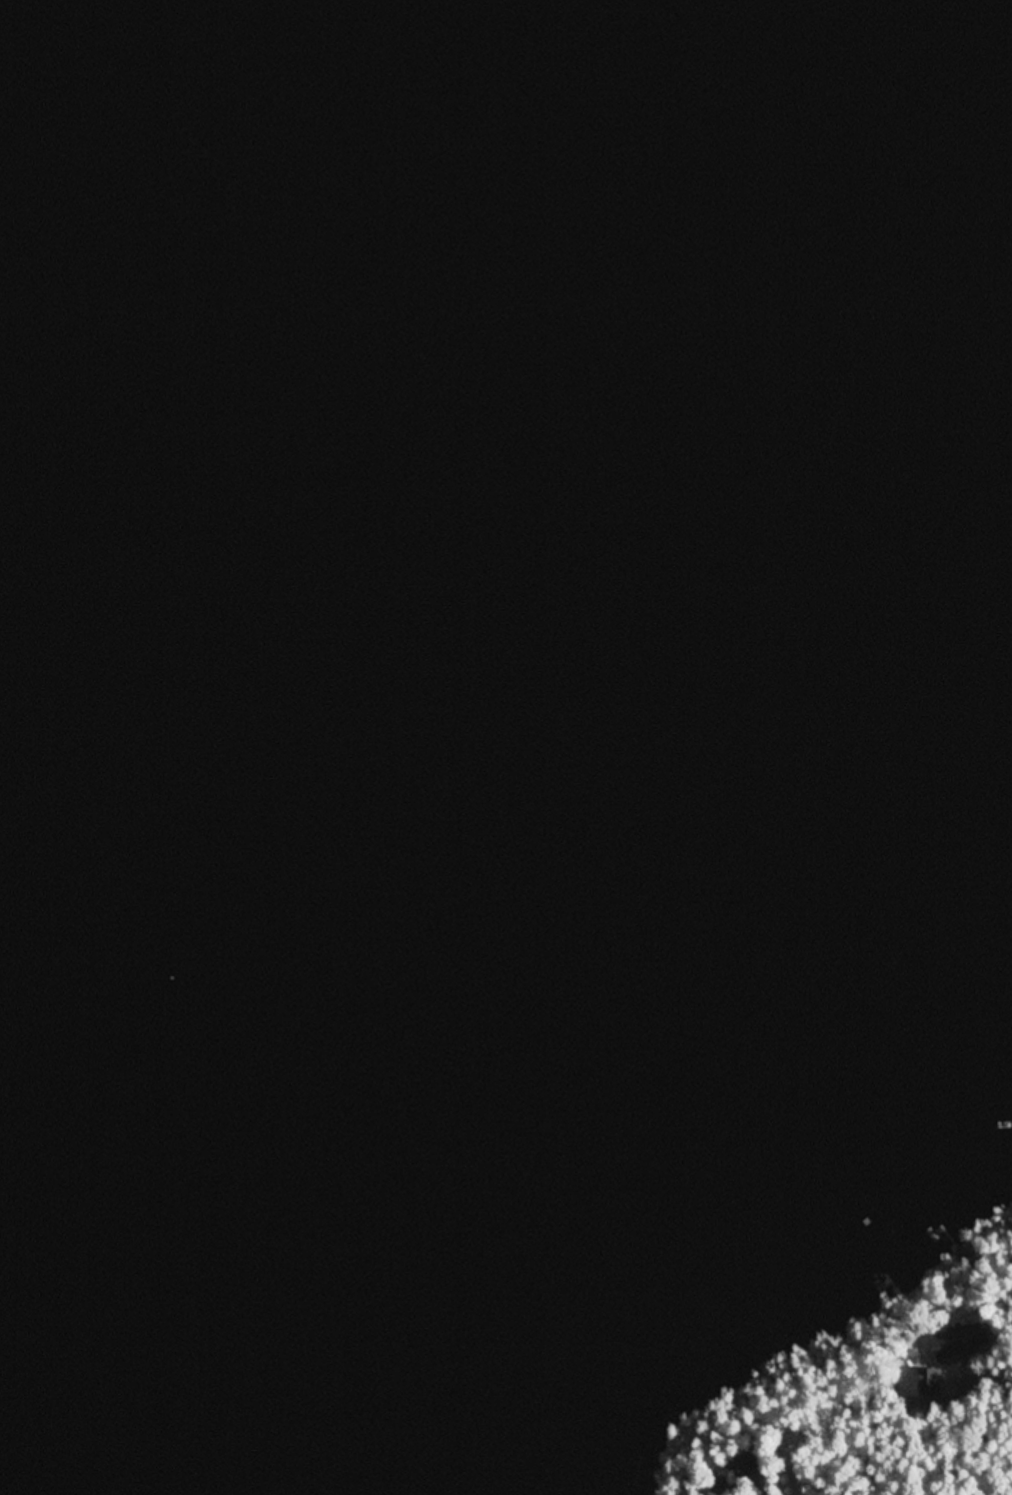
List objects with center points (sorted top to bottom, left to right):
river: (703, 154)
river: (344, 659)
road: (956, 1374)

